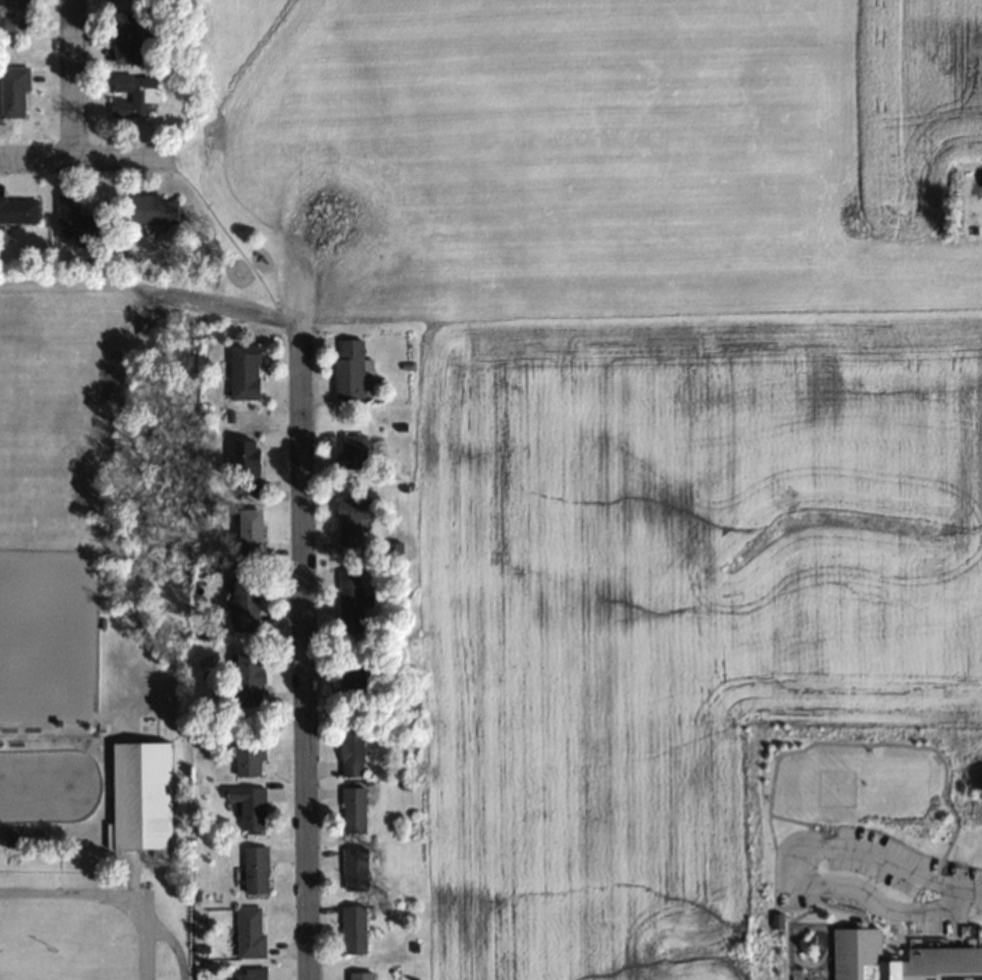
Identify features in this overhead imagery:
building: (18, 15)
building: (132, 37)
road: (72, 79)
building: (17, 92)
building: (139, 93)
crop: (915, 113)
road: (87, 158)
building: (19, 209)
building: (155, 209)
building: (83, 220)
road: (155, 289)
building: (347, 369)
building: (243, 372)
building: (350, 452)
building: (244, 467)
building: (350, 520)
building: (250, 533)
building: (245, 602)
building: (348, 602)
crop: (668, 609)
park: (97, 626)
road: (304, 657)
building: (352, 675)
building: (247, 679)
building: (148, 724)
building: (350, 749)
building: (248, 759)
building: (140, 797)
building: (248, 806)
building: (352, 809)
building: (255, 868)
building: (354, 868)
road: (109, 893)
building: (353, 928)
building: (249, 930)
building: (859, 956)
building: (941, 963)
building: (250, 974)
building: (359, 975)

